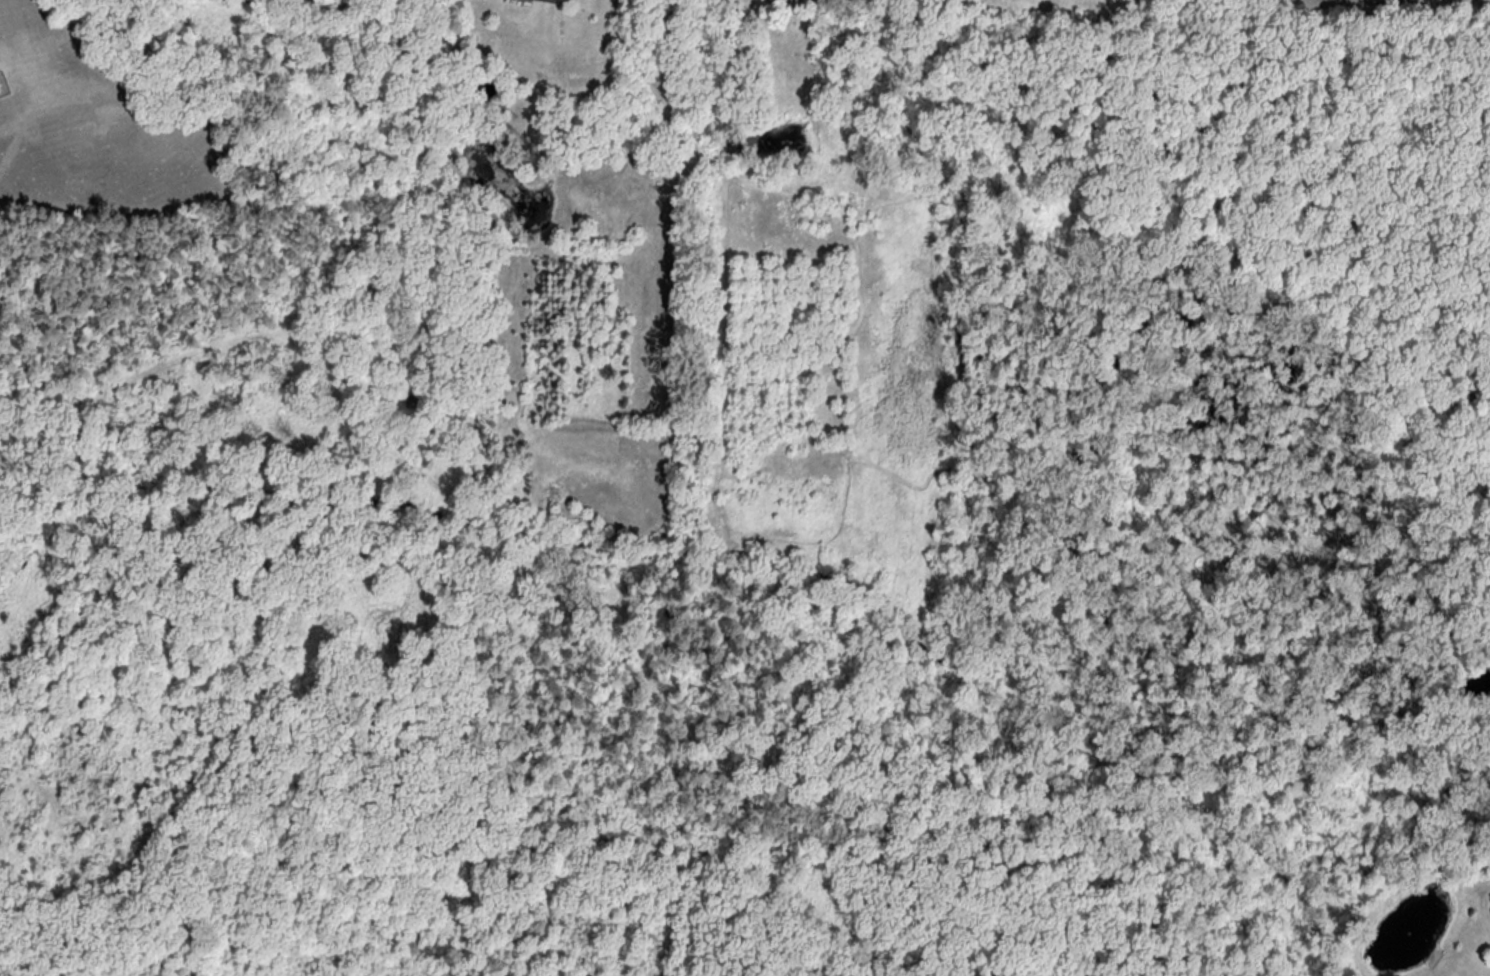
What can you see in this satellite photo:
building: (565, 0)
building: (571, 0)
road: (206, 346)
building: (414, 402)

